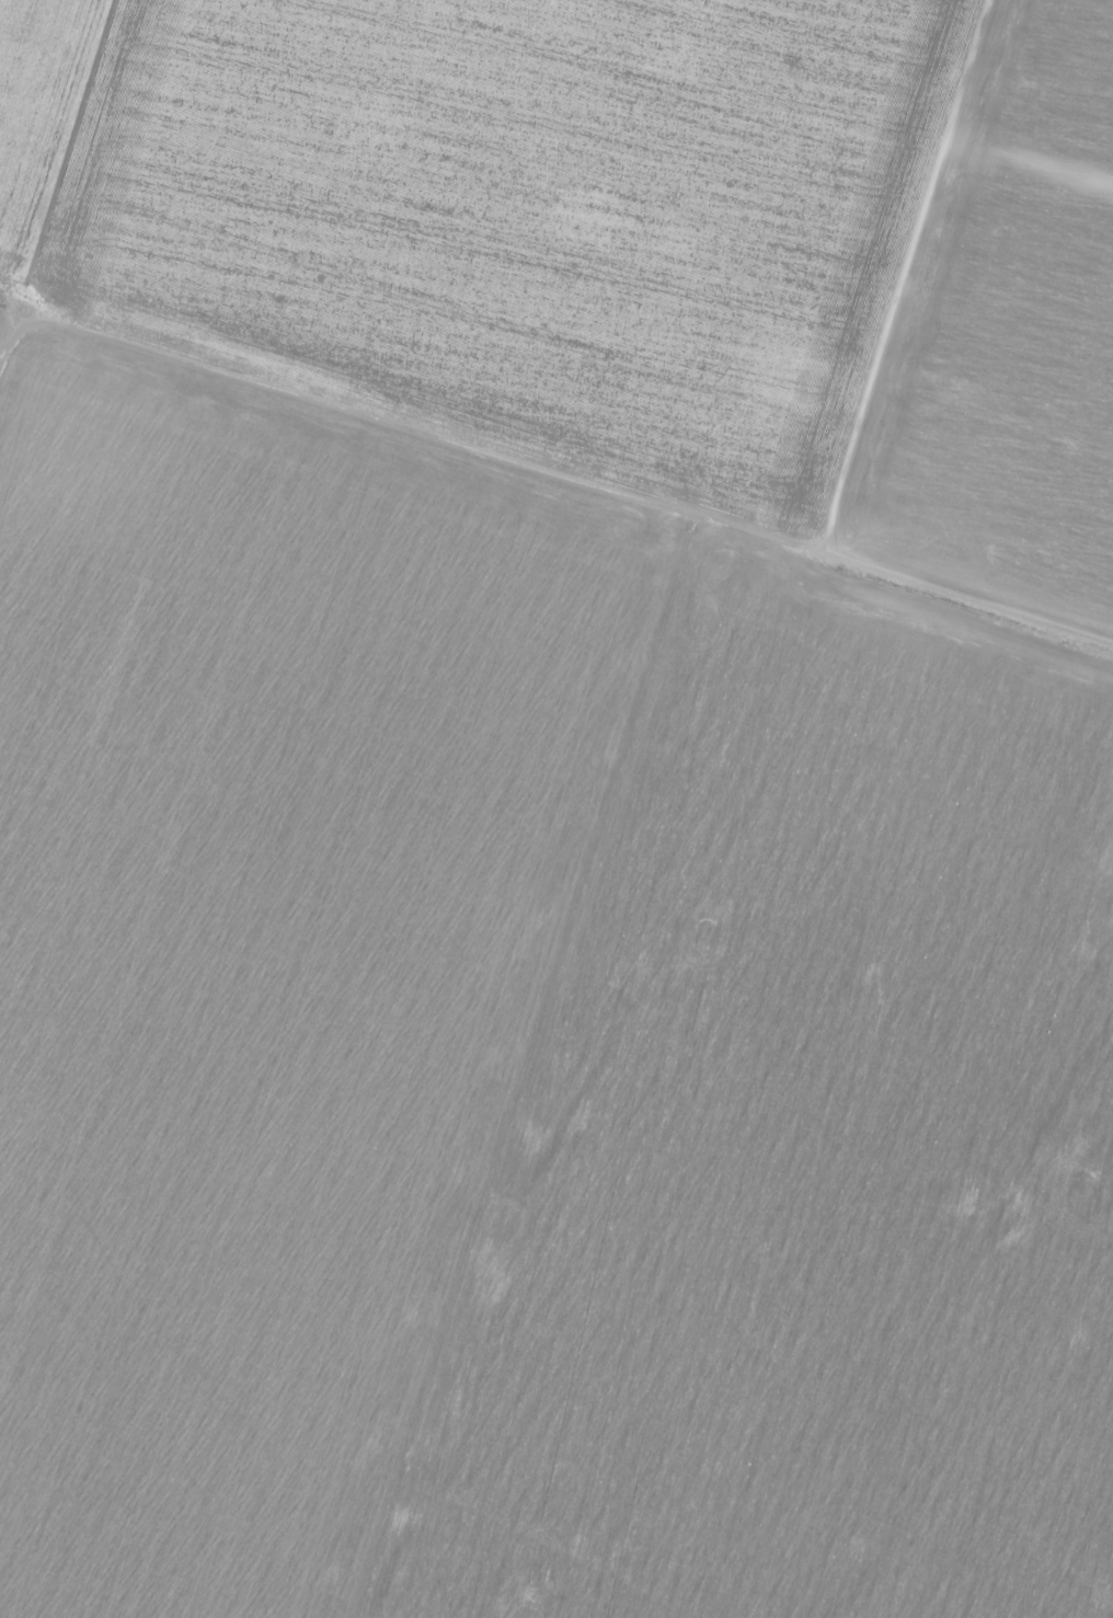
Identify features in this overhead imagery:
road: (78, 153)
road: (15, 354)
road: (556, 469)

